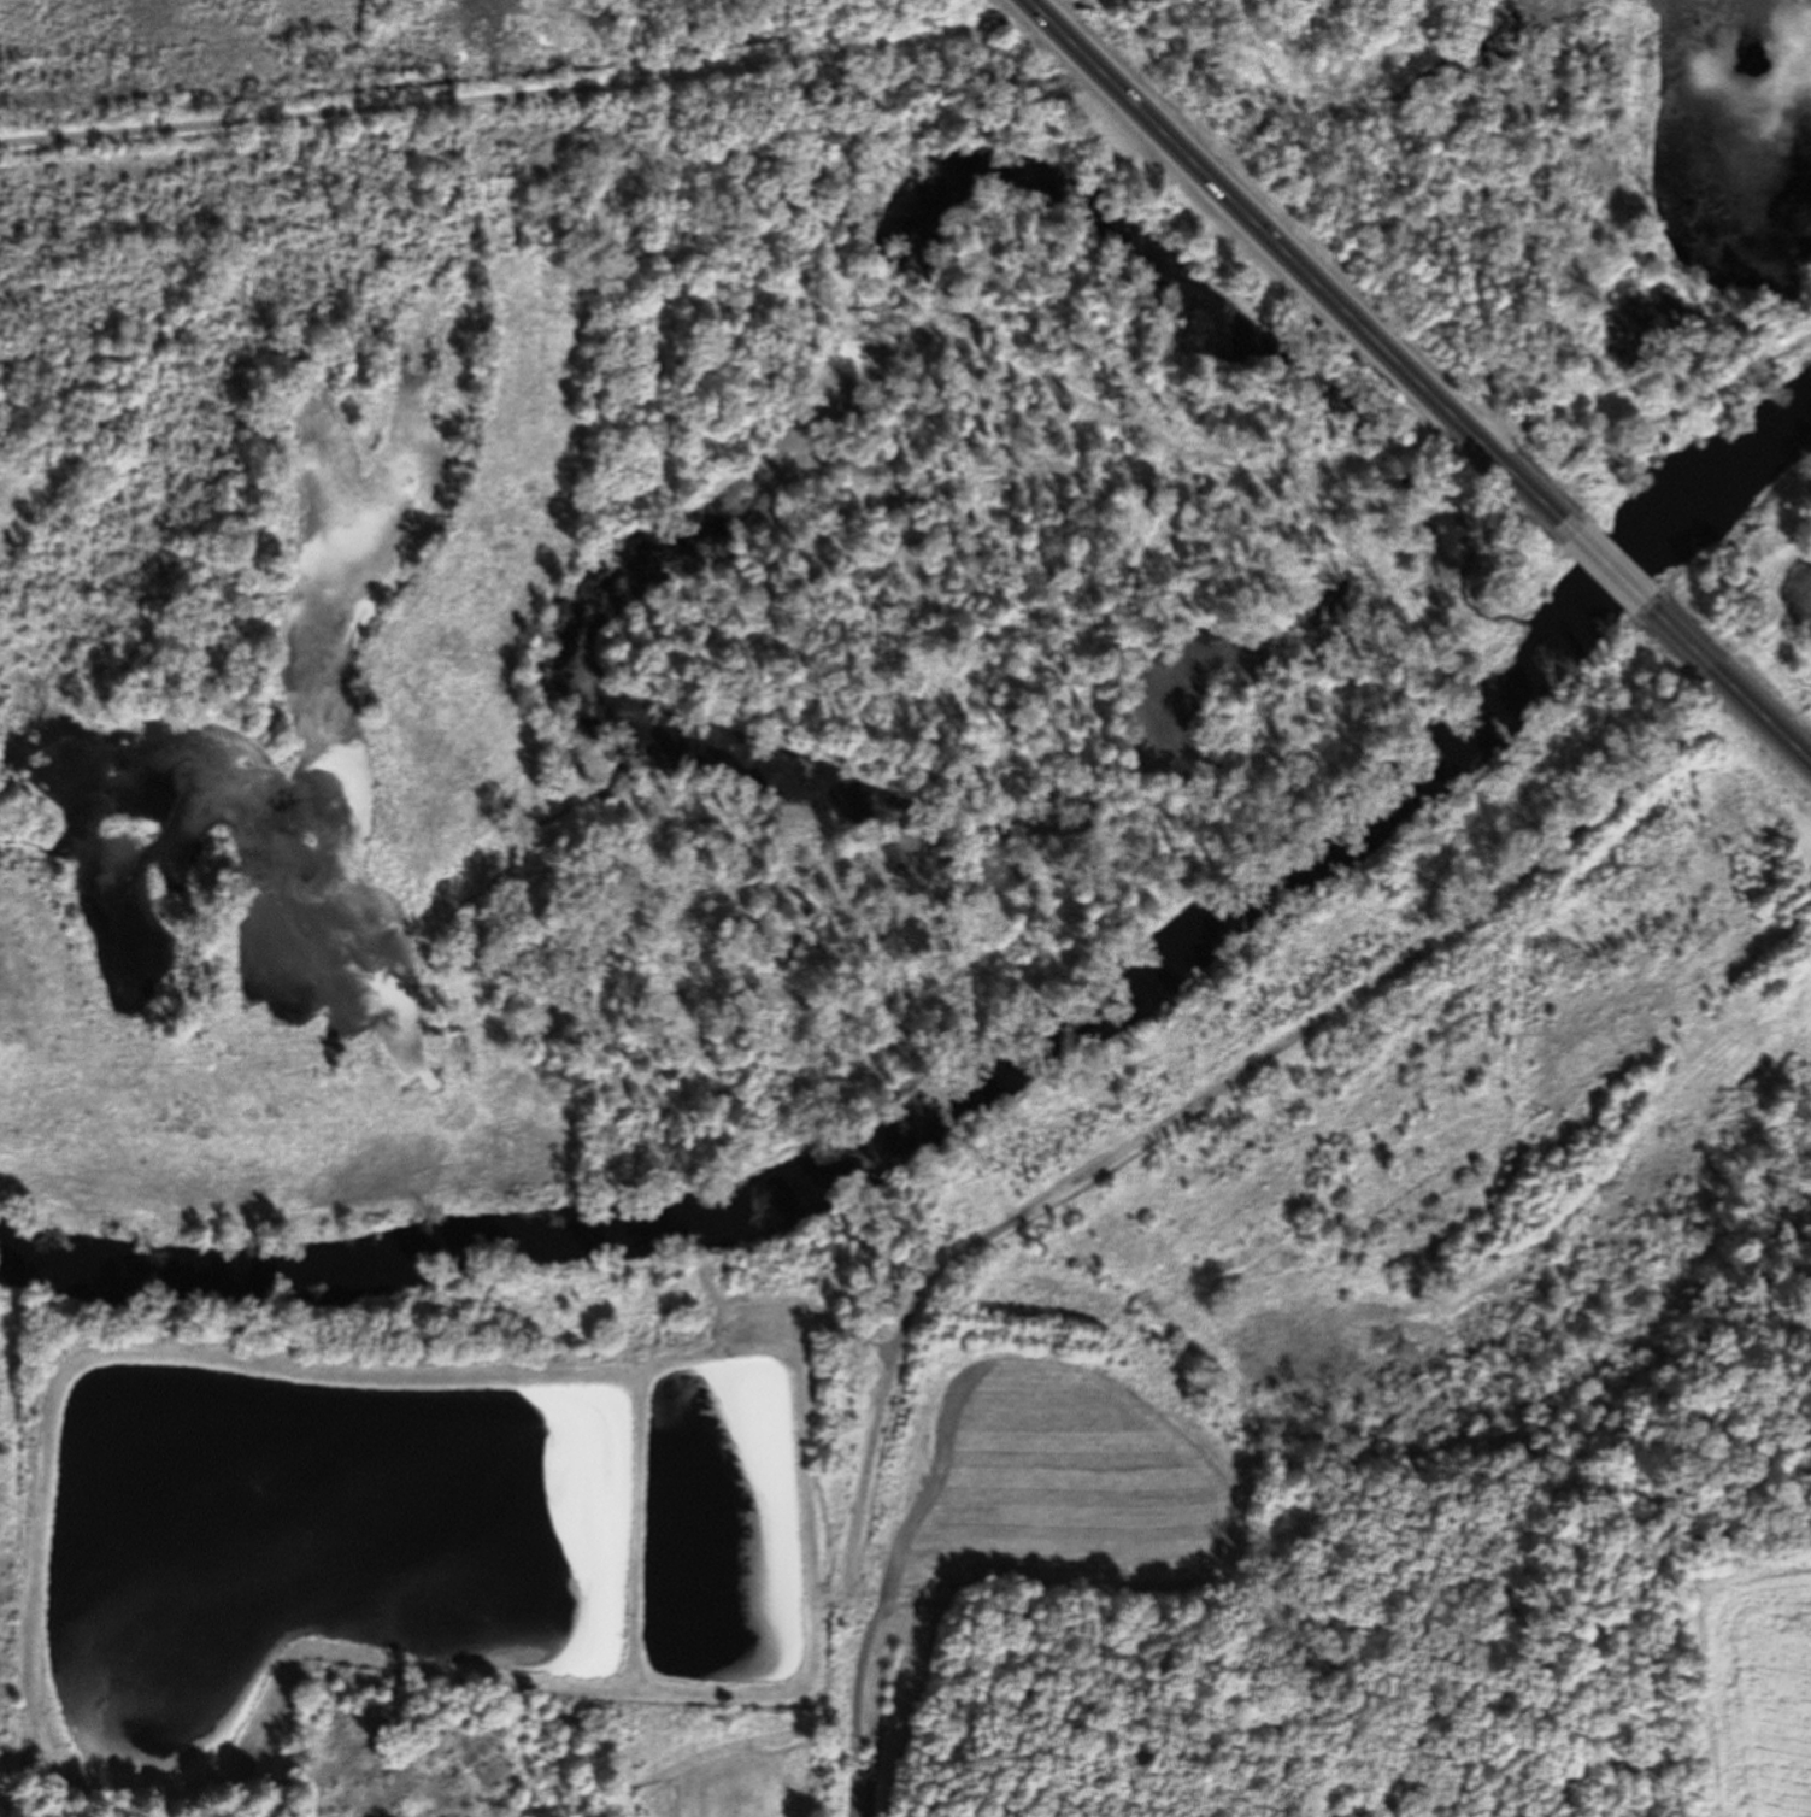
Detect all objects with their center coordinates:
road: (1086, 2)
road: (504, 95)
road: (1301, 266)
road: (1610, 568)
road: (1727, 682)
river: (1012, 1074)
road: (1141, 1143)

